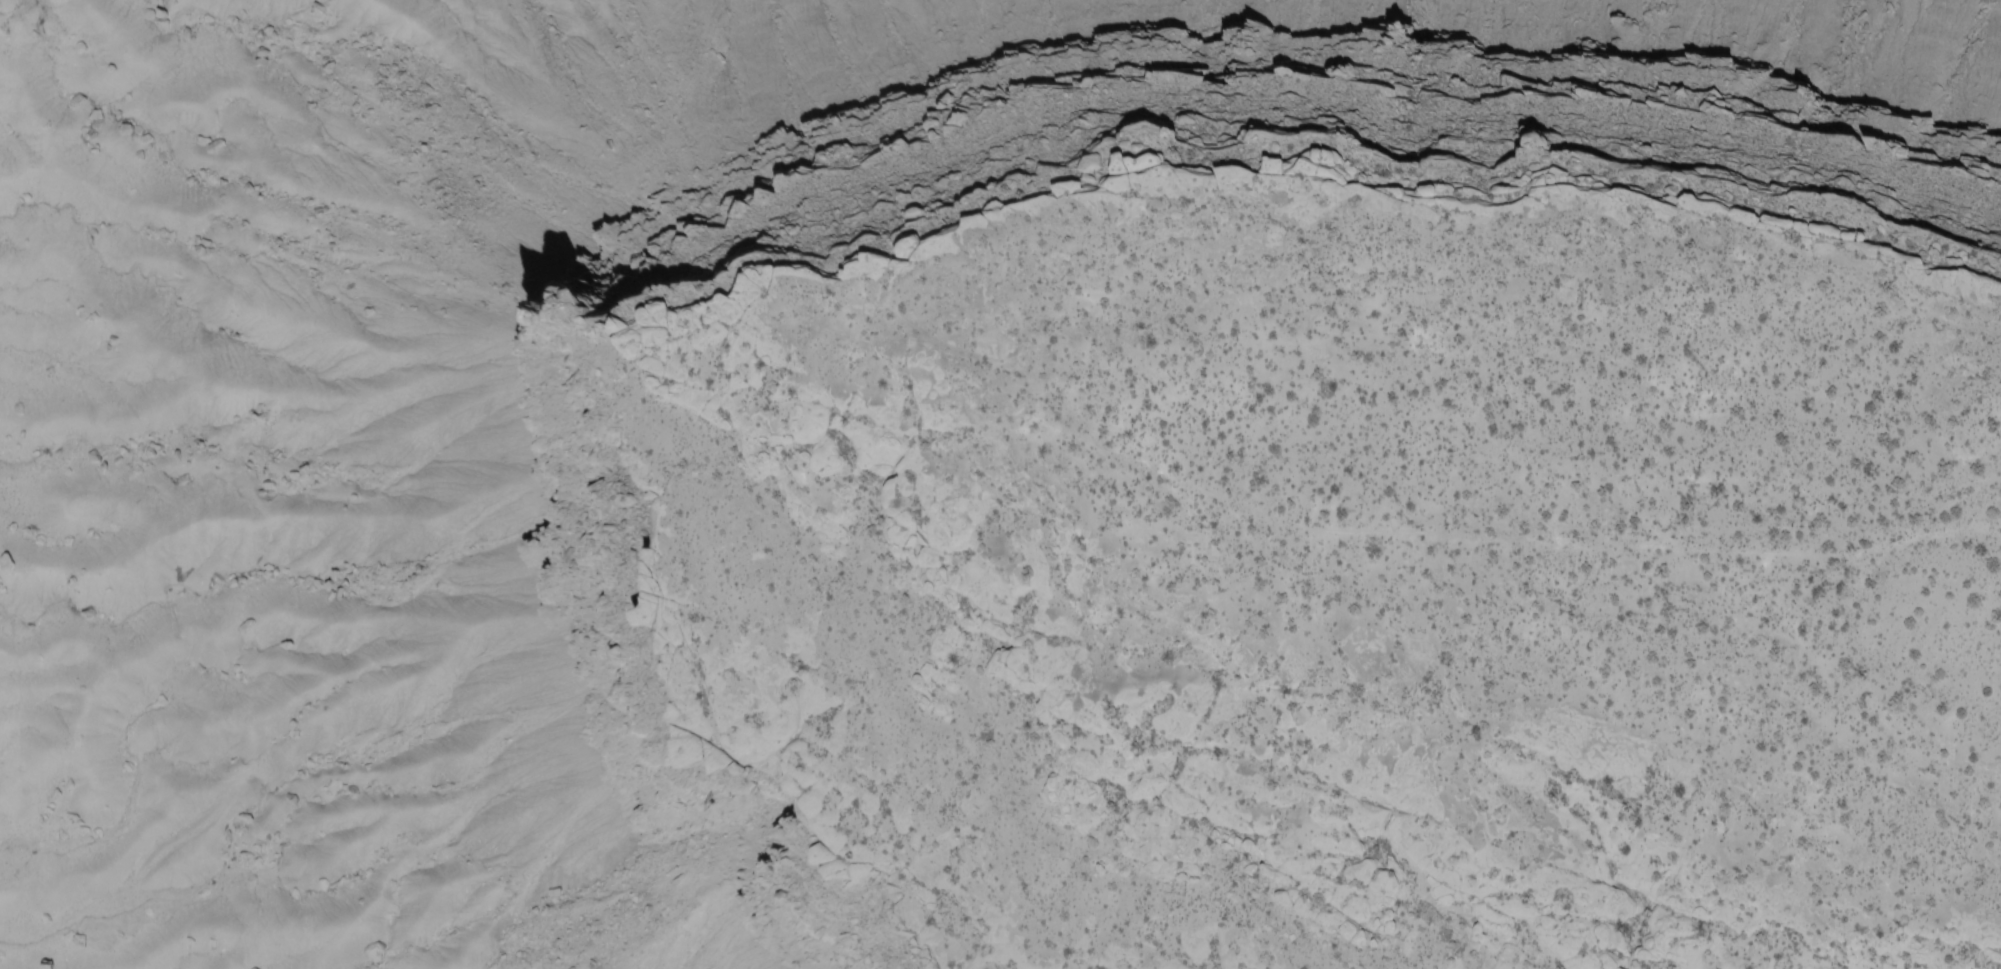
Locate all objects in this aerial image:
road: (1382, 559)

